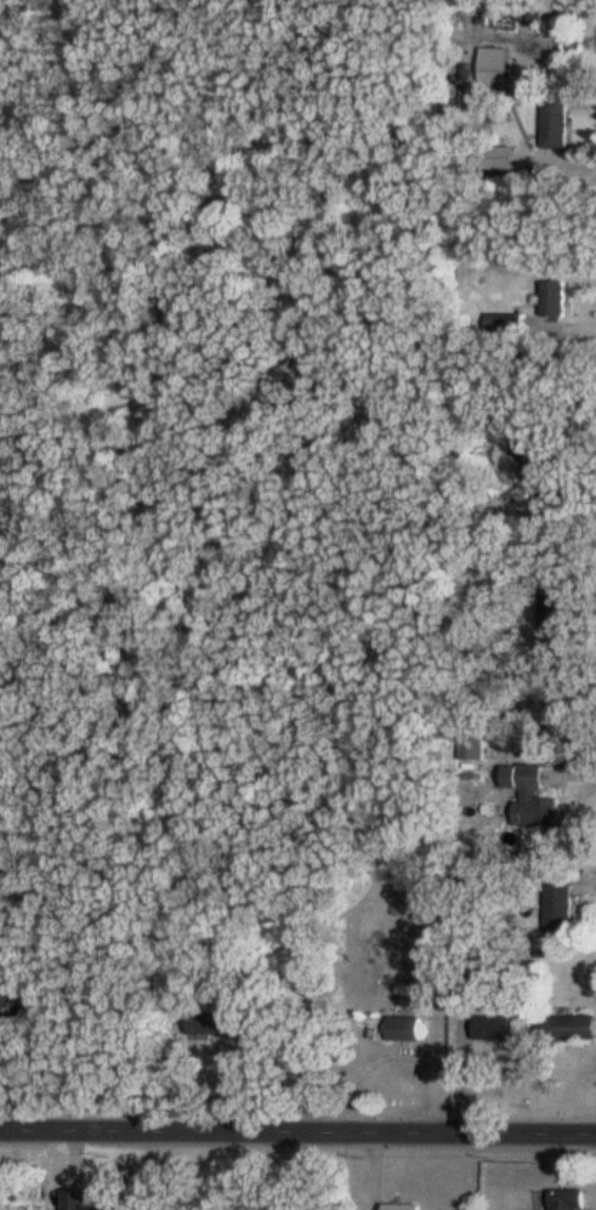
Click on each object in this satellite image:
building: (496, 63)
road: (483, 120)
building: (556, 120)
building: (555, 297)
building: (506, 323)
building: (352, 427)
building: (549, 479)
building: (554, 624)
building: (534, 799)
building: (557, 901)
building: (5, 998)
building: (222, 1022)
building: (568, 1026)
building: (405, 1027)
building: (494, 1027)
road: (297, 1131)
building: (568, 1198)
building: (403, 1206)

